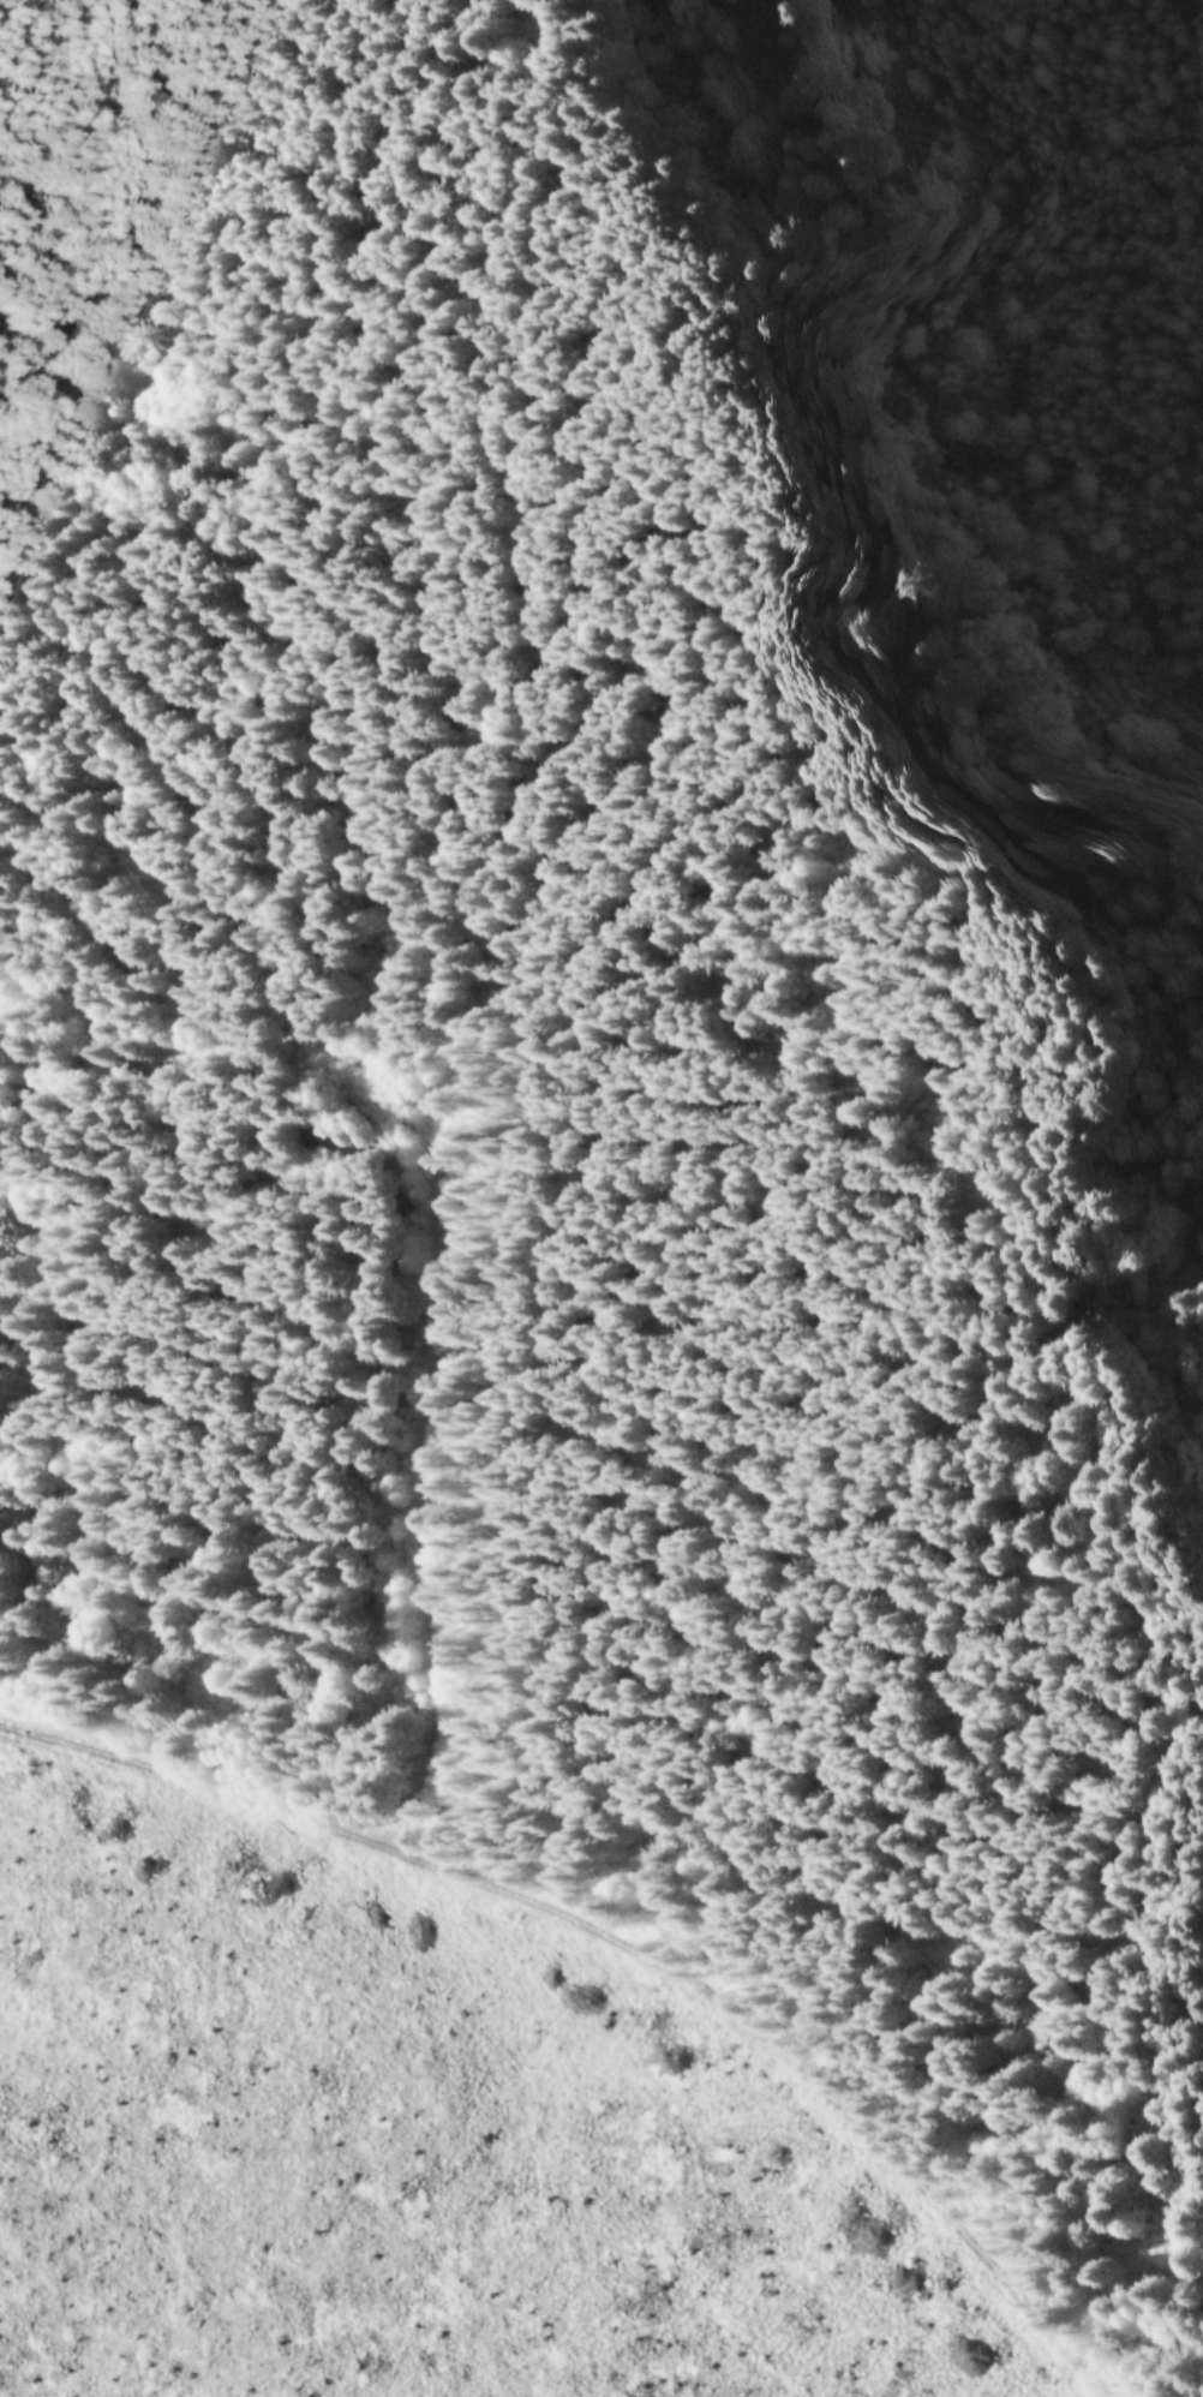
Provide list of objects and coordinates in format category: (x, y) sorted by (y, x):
road: (403, 1687)

